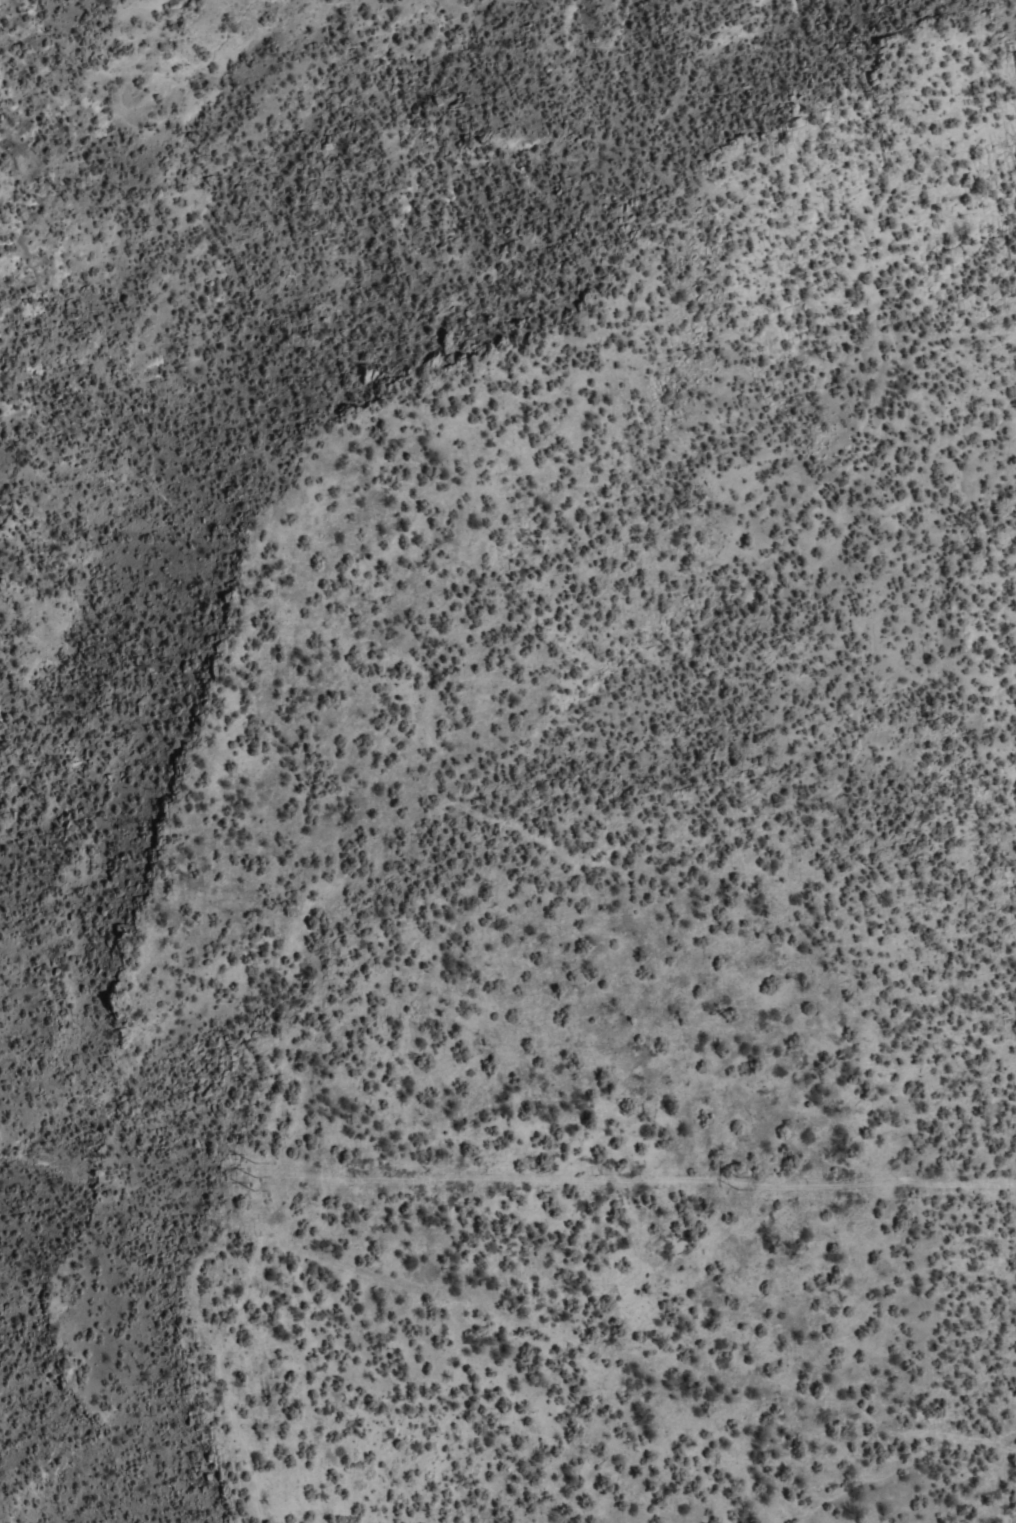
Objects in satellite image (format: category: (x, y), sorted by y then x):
power tower: (254, 1175)
power tower: (737, 1184)
road: (555, 1344)

